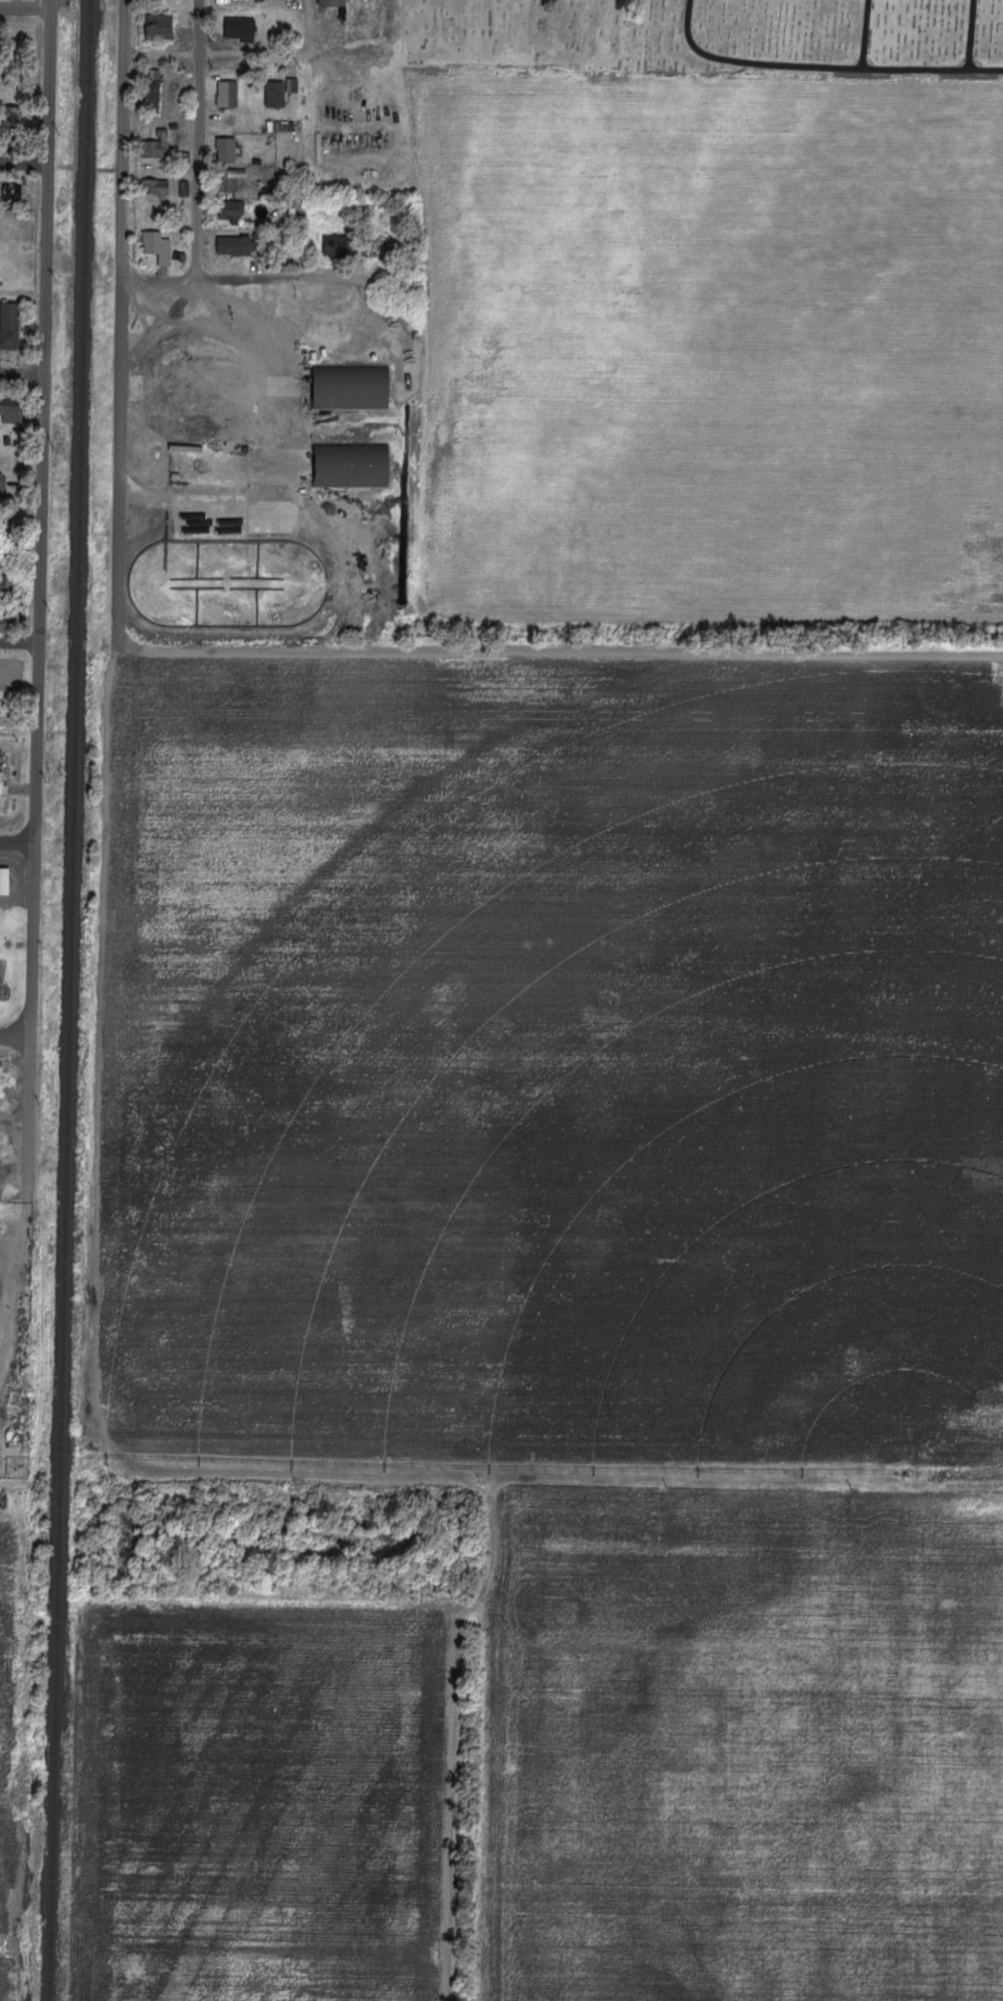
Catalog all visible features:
building: (332, 3)
road: (25, 7)
building: (160, 27)
road: (309, 28)
building: (240, 29)
park: (707, 34)
road: (867, 34)
road: (974, 34)
road: (260, 57)
road: (823, 66)
building: (292, 85)
building: (154, 91)
building: (228, 94)
building: (276, 94)
railway: (89, 101)
road: (125, 139)
road: (199, 139)
building: (156, 147)
building: (227, 150)
road: (23, 162)
building: (161, 187)
building: (13, 191)
building: (231, 212)
building: (236, 246)
building: (158, 247)
road: (244, 276)
road: (43, 321)
building: (9, 324)
road: (21, 370)
building: (352, 388)
building: (12, 410)
road: (121, 462)
building: (353, 465)
road: (285, 494)
road: (19, 642)
road: (561, 652)
building: (1, 782)
road: (17, 843)
building: (5, 881)
road: (31, 997)
road: (15, 1035)
railway: (68, 1101)

